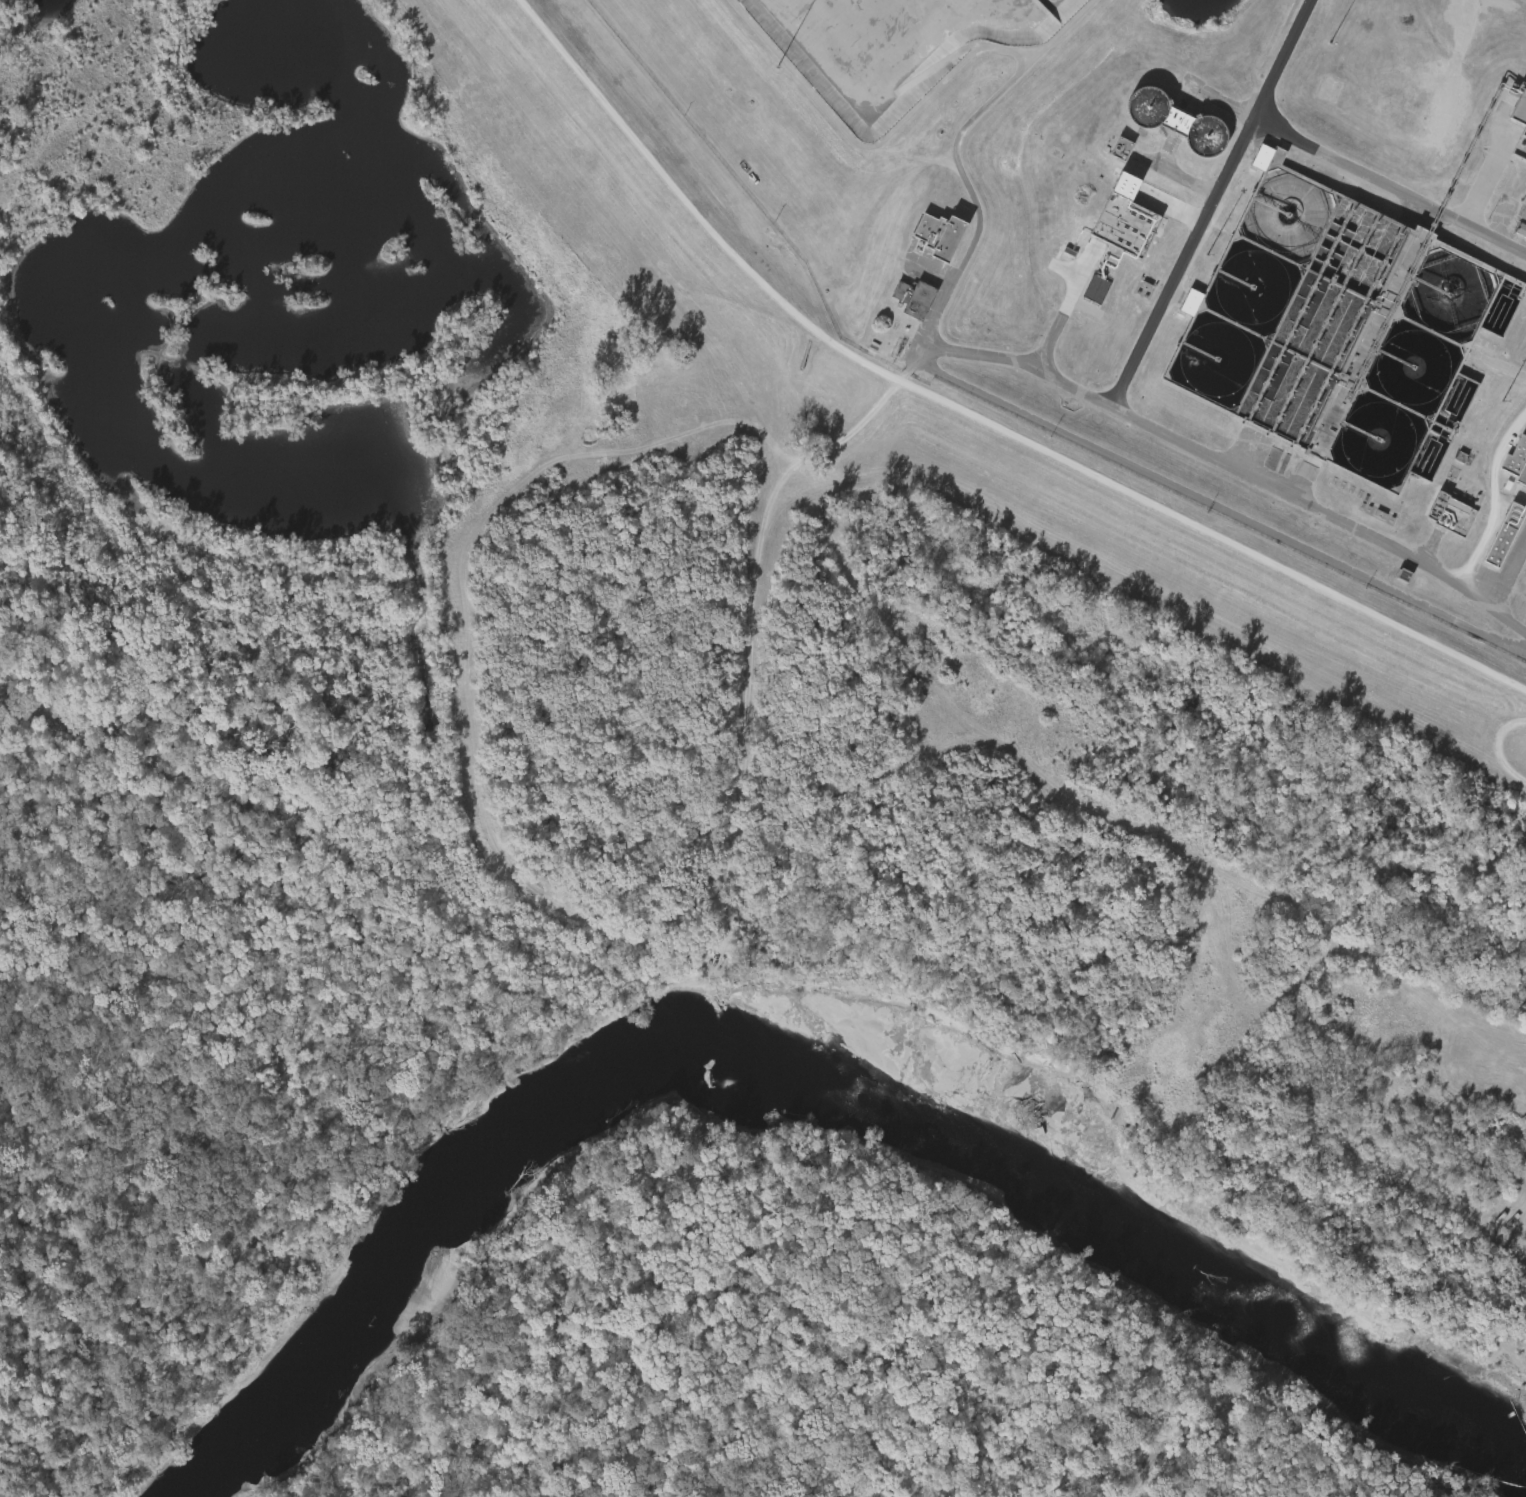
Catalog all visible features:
road: (1454, 67)
building: (1522, 112)
building: (1178, 120)
building: (1123, 147)
building: (1110, 148)
building: (1522, 148)
road: (1332, 153)
road: (956, 157)
building: (1256, 171)
building: (1523, 213)
building: (1128, 221)
building: (1520, 231)
building: (942, 234)
road: (1185, 259)
wastewater plant: (1121, 274)
building: (1085, 289)
building: (915, 298)
building: (1179, 302)
road: (1063, 311)
building: (1342, 328)
road: (970, 417)
road: (1213, 454)
building: (1518, 461)
road: (1493, 496)
road: (1224, 502)
building: (1453, 513)
building: (1493, 534)
building: (1508, 536)
river: (819, 1039)

